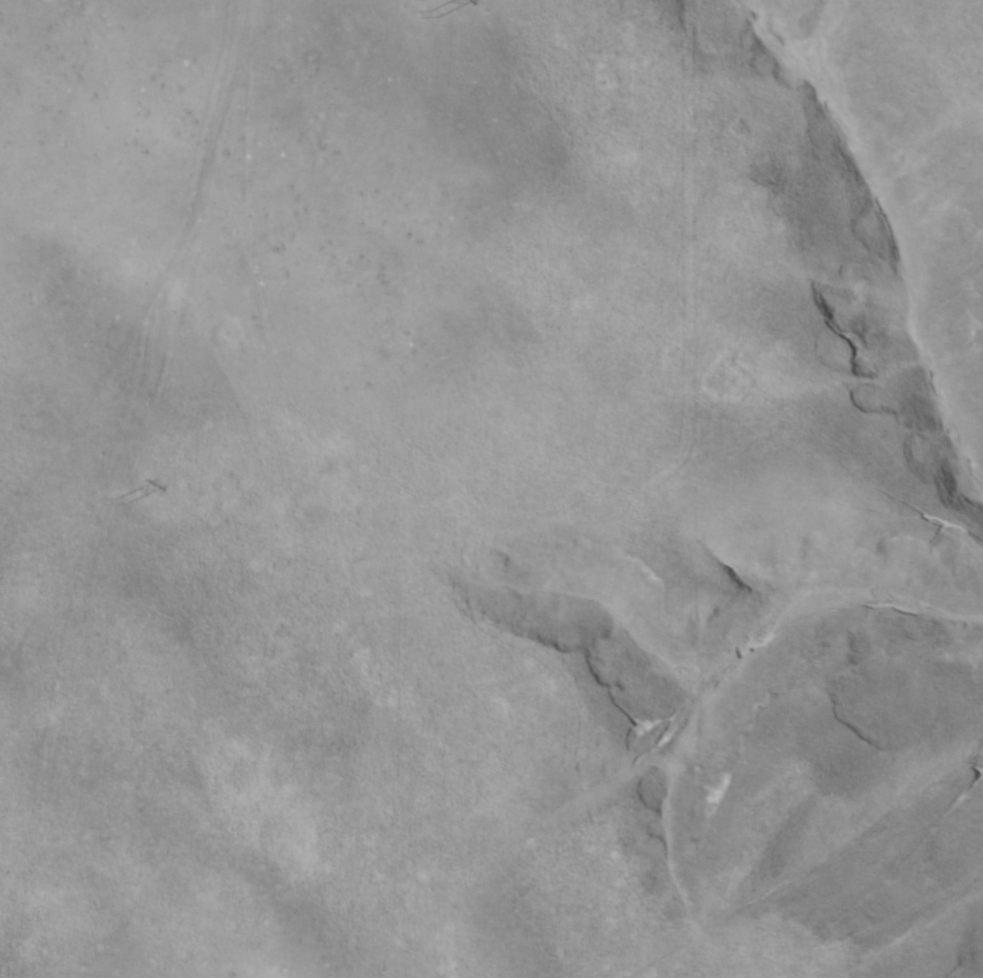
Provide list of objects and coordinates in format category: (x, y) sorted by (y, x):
power tower: (435, 13)
power tower: (121, 500)

